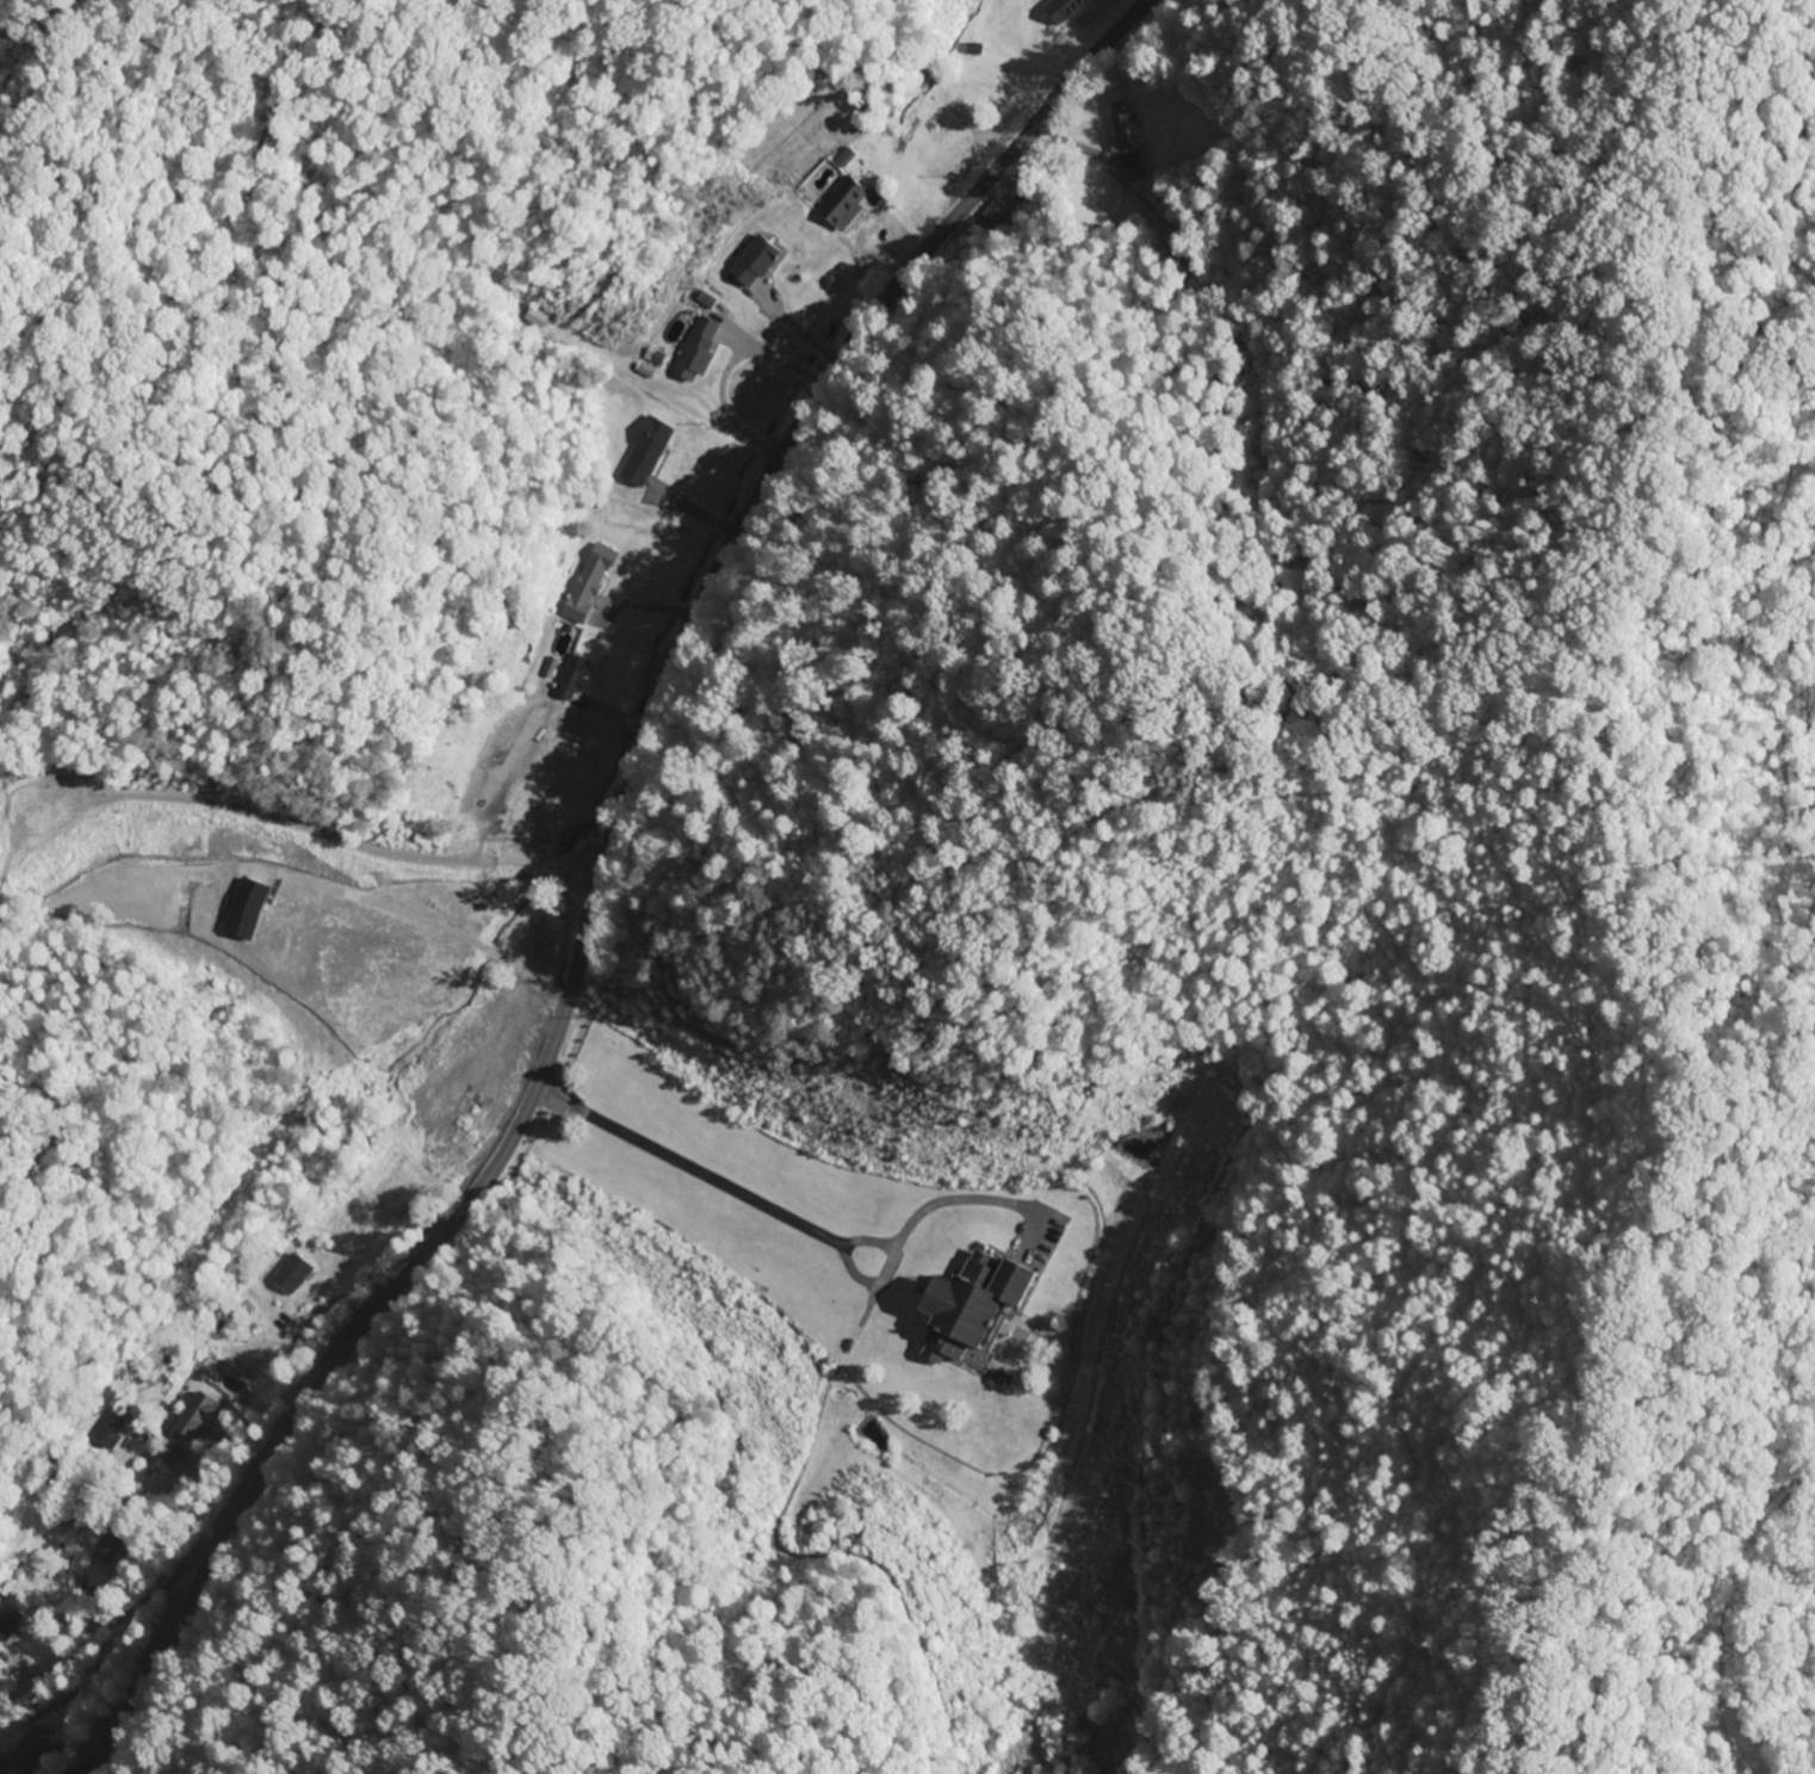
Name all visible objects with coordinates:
building: (1066, 8)
building: (1122, 147)
building: (838, 204)
building: (750, 264)
road: (1390, 305)
building: (692, 351)
building: (580, 586)
building: (565, 678)
road: (601, 876)
building: (259, 907)
building: (518, 946)
building: (289, 1274)
road: (388, 1278)
building: (965, 1310)
road: (317, 1318)
building: (193, 1416)
road: (233, 1463)
building: (6, 1621)
road: (101, 1657)
road: (4, 1729)
building: (30, 1755)

